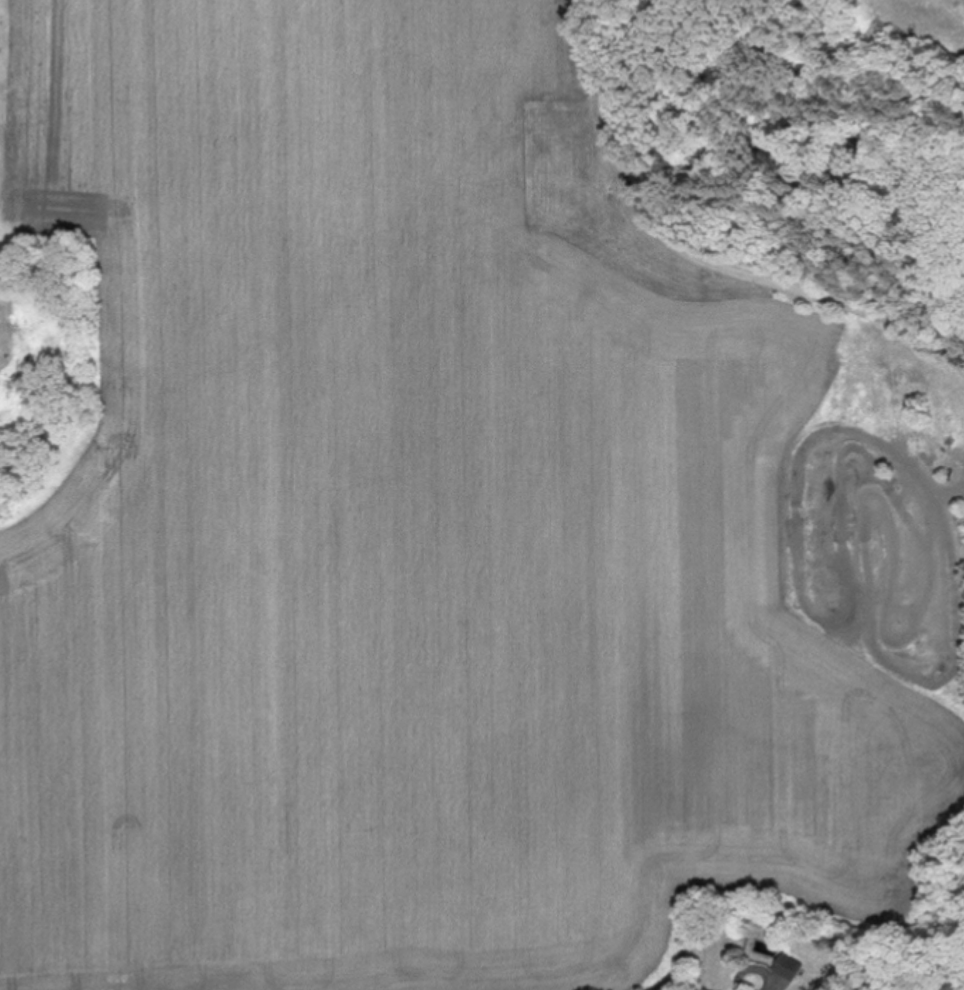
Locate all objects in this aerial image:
road: (699, 247)
building: (790, 967)

